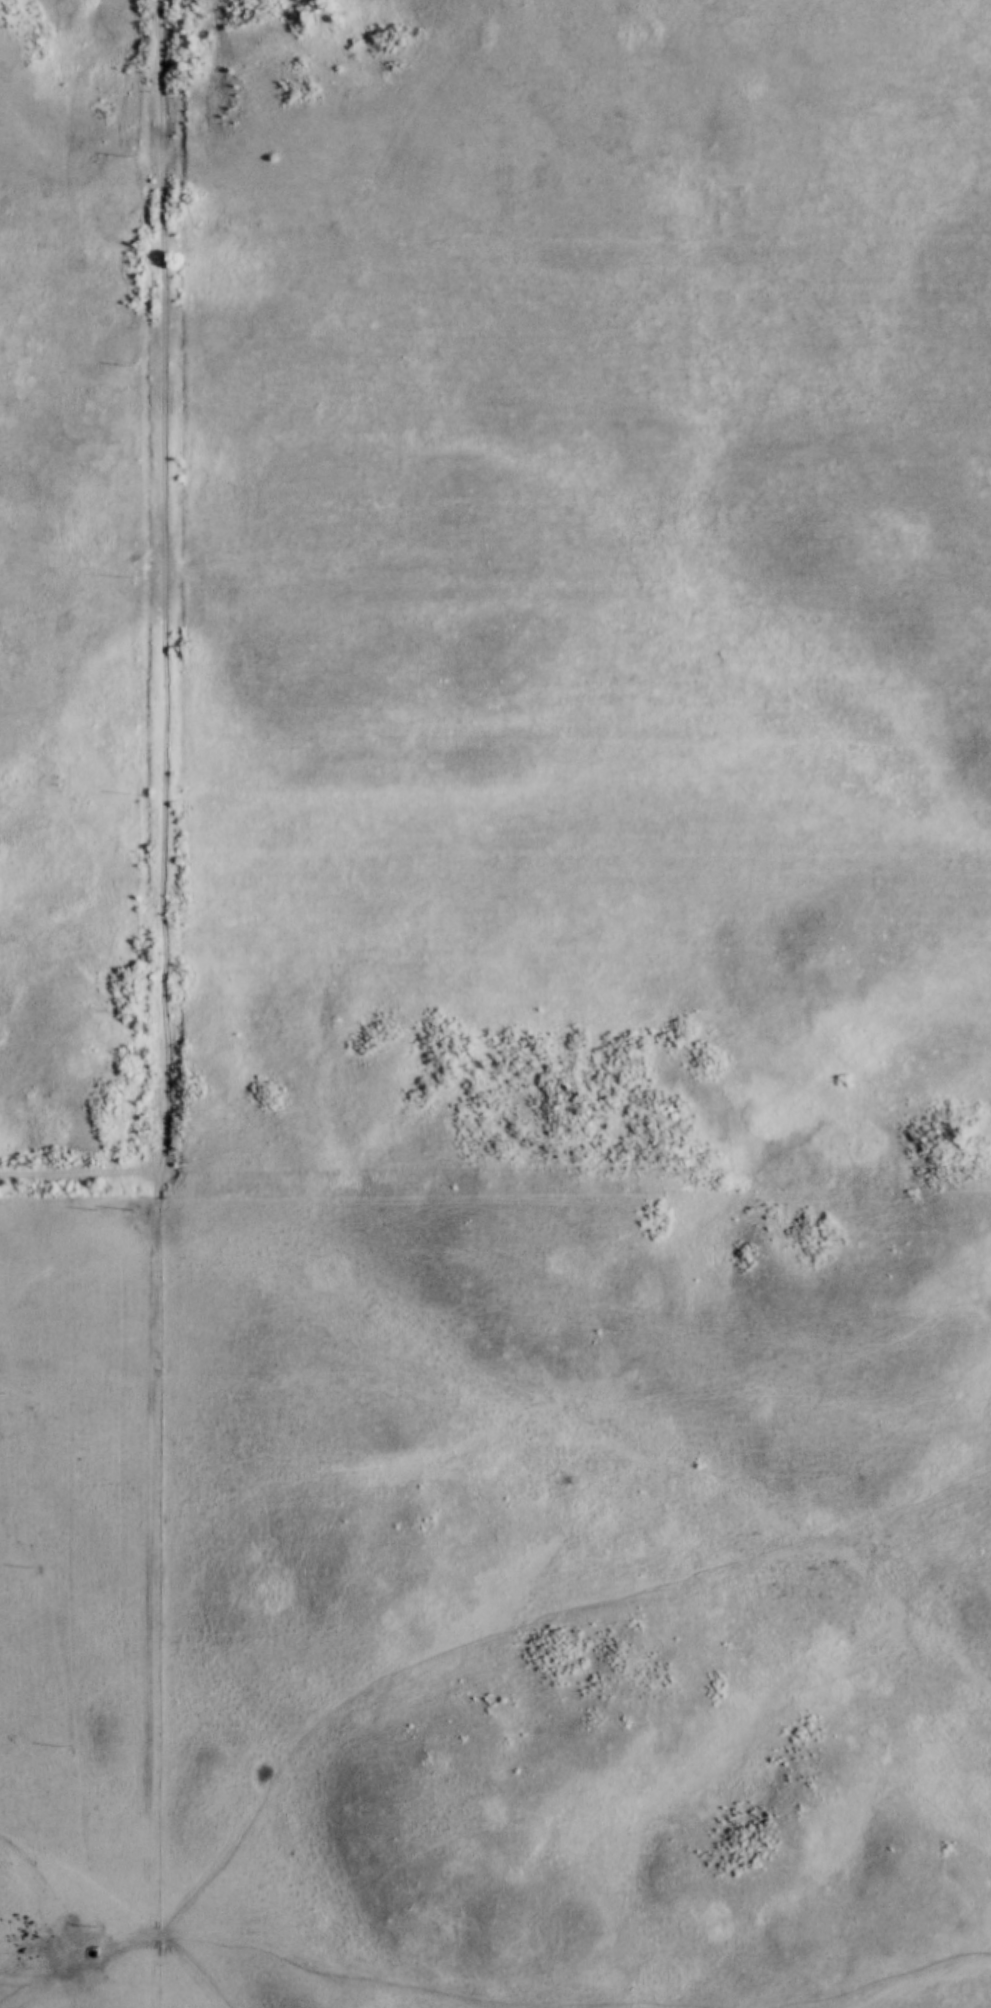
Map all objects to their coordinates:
road: (163, 663)

